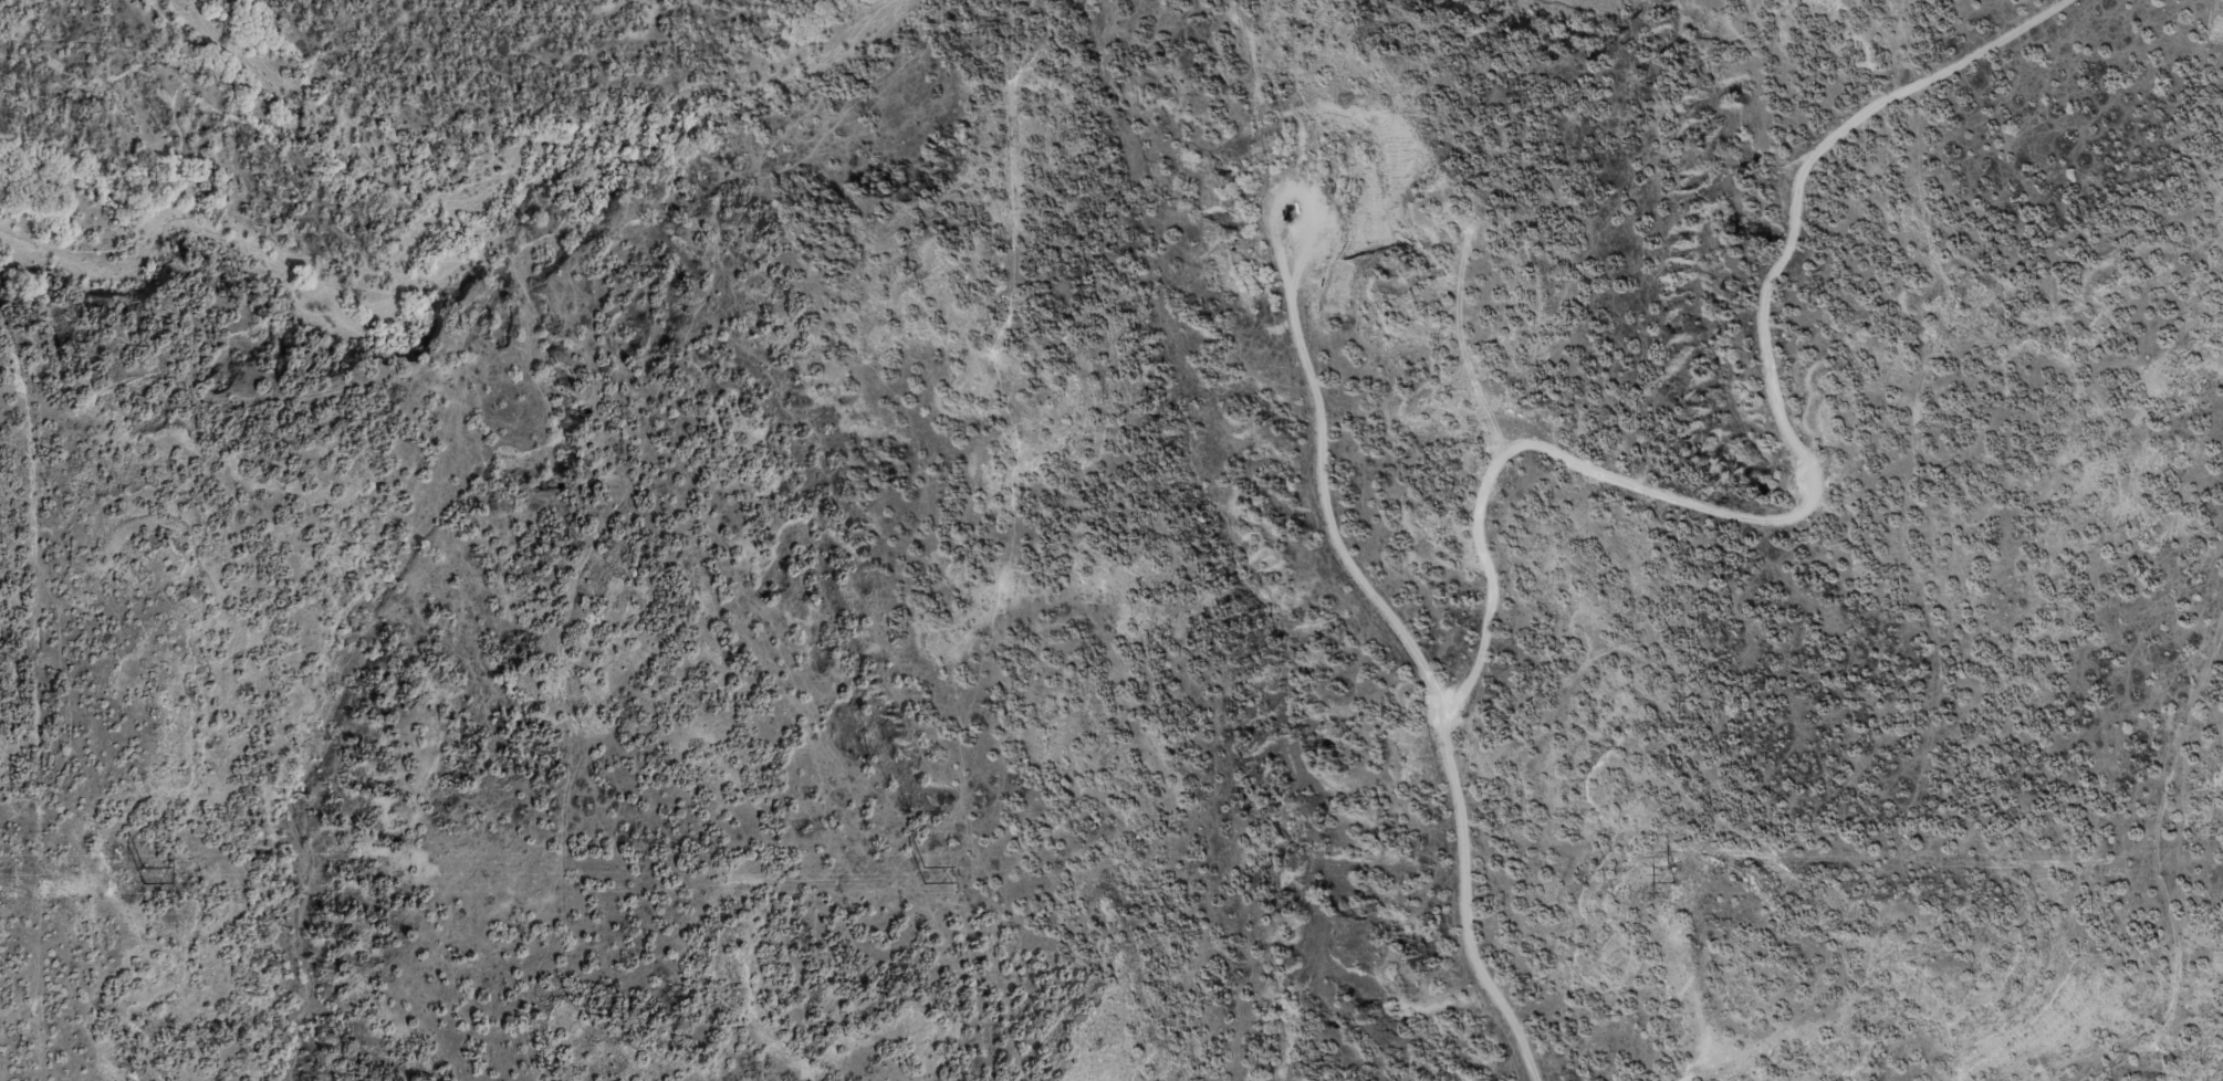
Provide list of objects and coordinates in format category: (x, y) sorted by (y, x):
power tower: (142, 873)
power tower: (1671, 873)
power tower: (936, 877)

